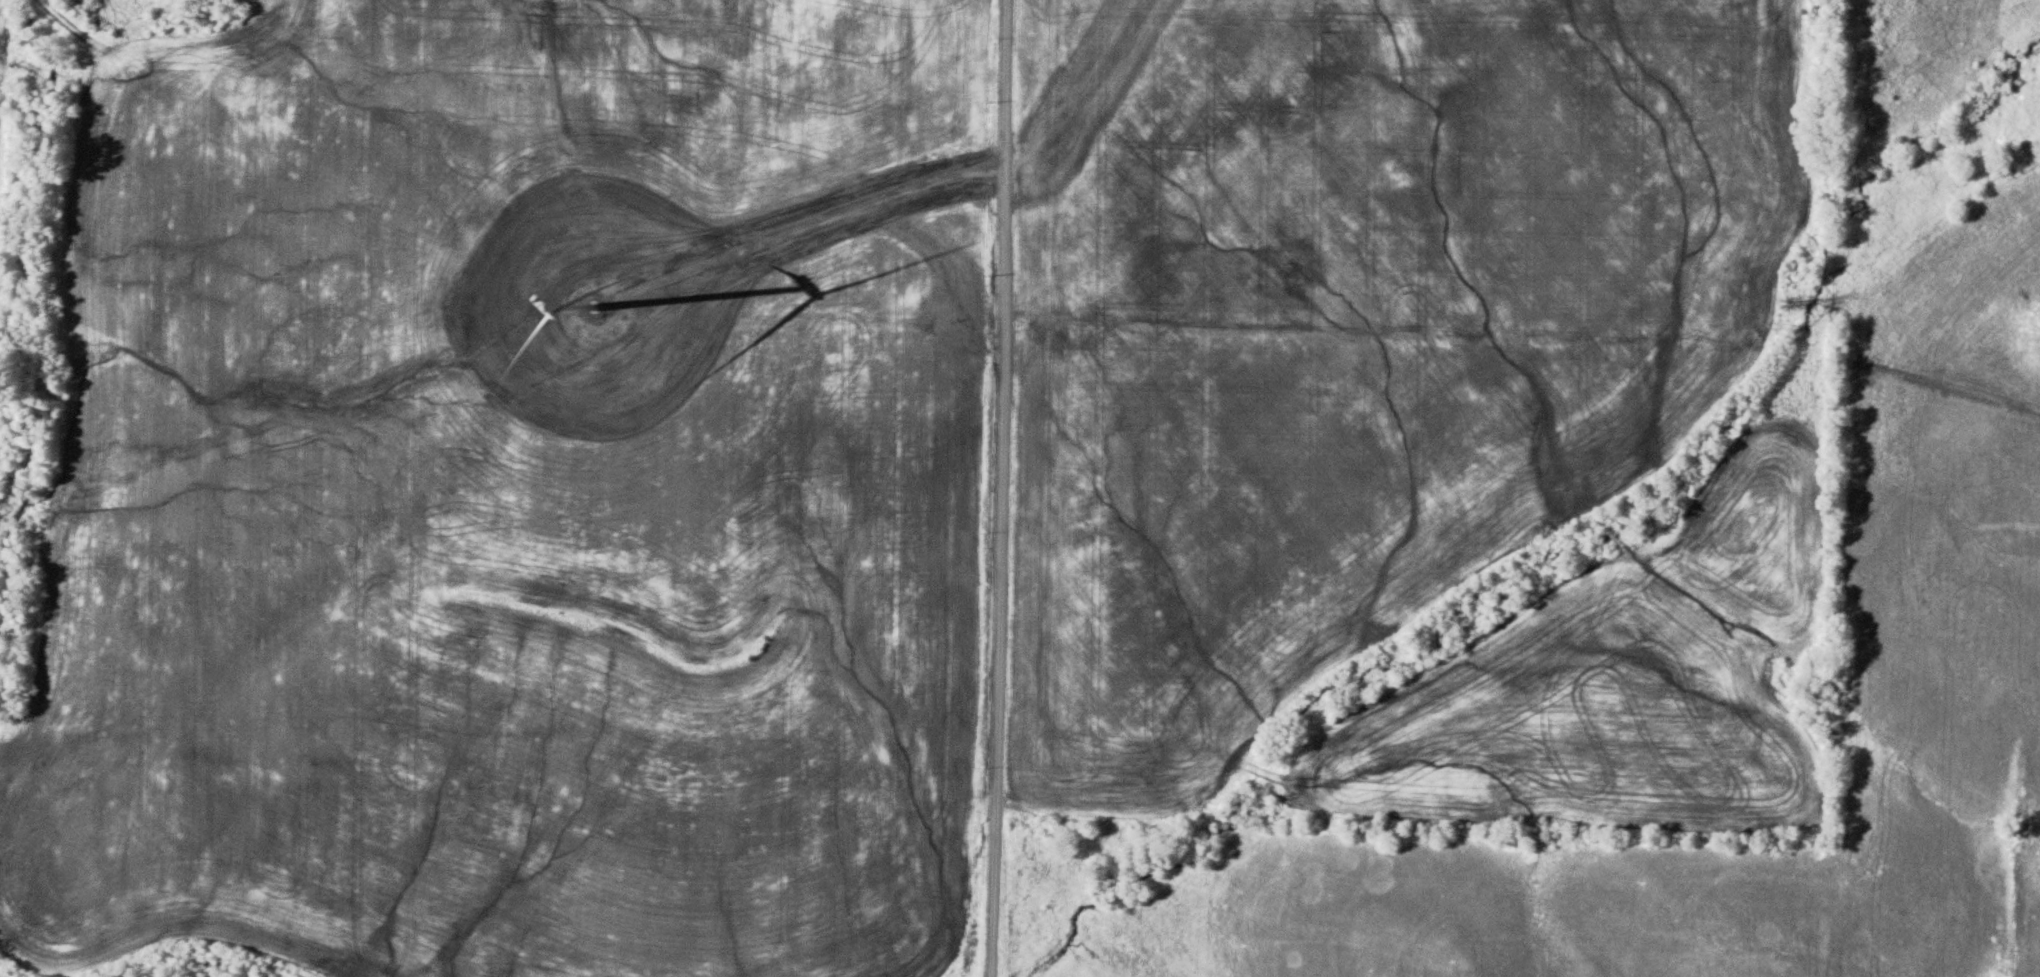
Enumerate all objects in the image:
wind turbine: (597, 312)
road: (998, 488)

